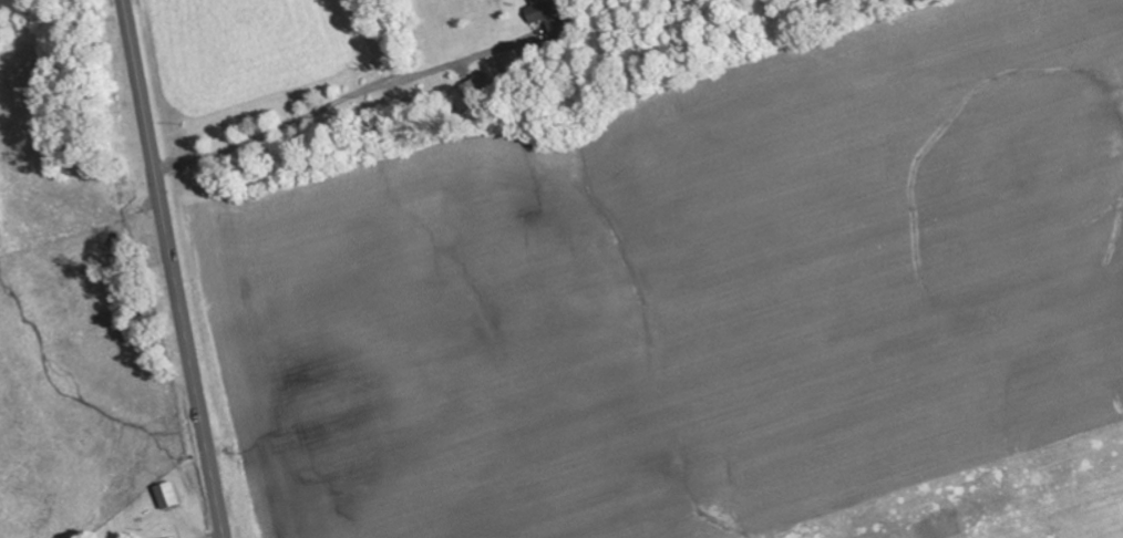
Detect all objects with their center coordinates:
building: (545, 17)
road: (280, 84)
building: (472, 94)
road: (175, 268)
building: (167, 496)

